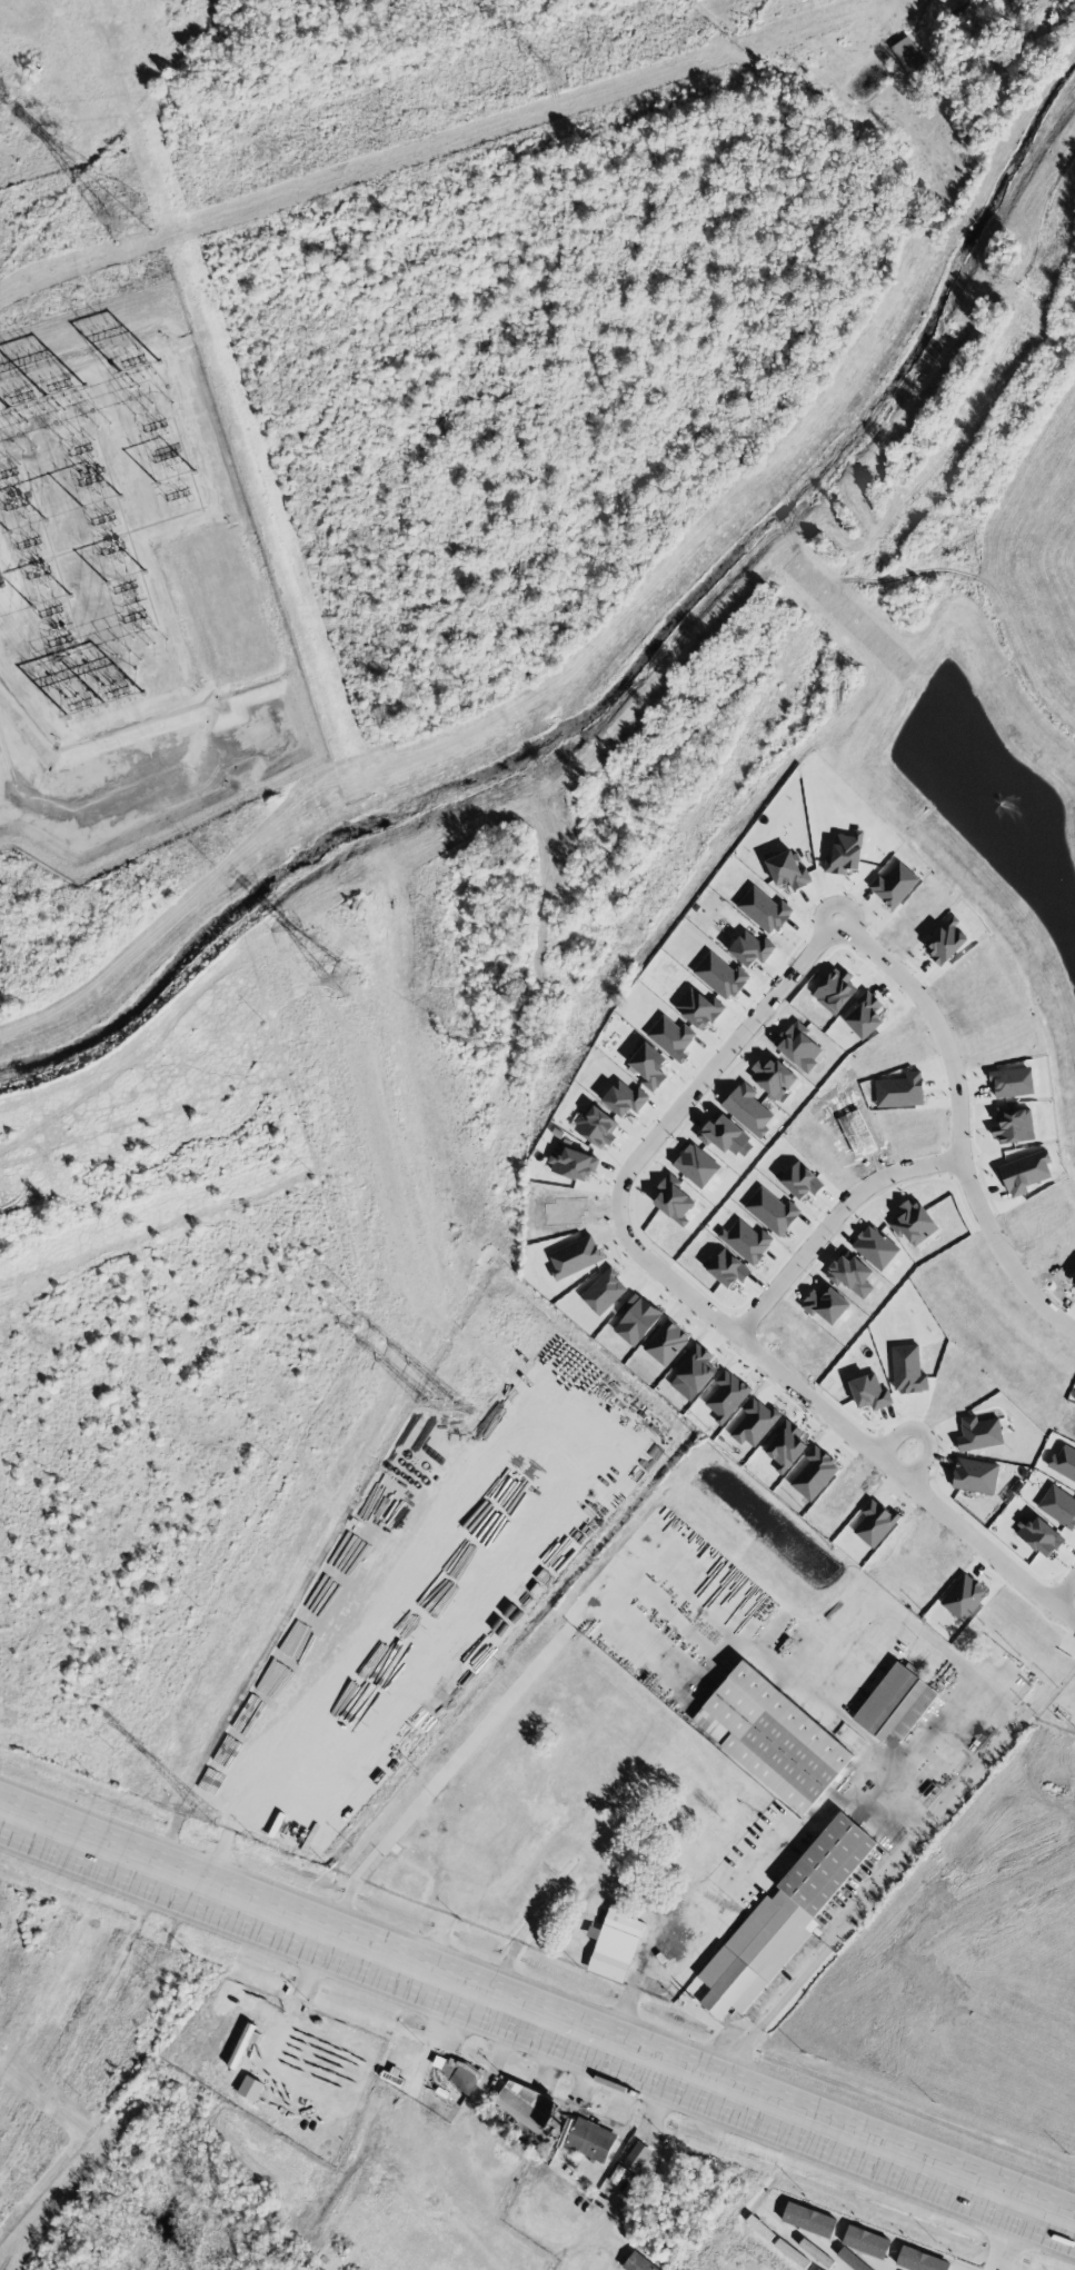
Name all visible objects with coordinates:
building: (907, 54)
power tower: (557, 77)
power tower: (127, 221)
building: (1, 580)
power substation: (130, 595)
building: (844, 853)
building: (787, 870)
building: (893, 885)
road: (838, 902)
building: (764, 909)
building: (944, 940)
building: (750, 948)
building: (720, 975)
power tower: (341, 977)
building: (698, 1008)
building: (864, 1015)
building: (671, 1036)
road: (716, 1063)
building: (648, 1065)
building: (773, 1076)
building: (1012, 1081)
building: (899, 1091)
building: (624, 1098)
building: (747, 1109)
building: (596, 1125)
building: (1009, 1125)
road: (958, 1131)
building: (573, 1164)
building: (1024, 1172)
building: (800, 1179)
building: (674, 1198)
building: (770, 1211)
road: (830, 1222)
building: (913, 1222)
building: (746, 1239)
building: (875, 1246)
building: (574, 1256)
building: (727, 1268)
building: (666, 1342)
building: (906, 1368)
building: (869, 1392)
power tower: (444, 1406)
road: (530, 1413)
road: (834, 1420)
road: (922, 1432)
building: (978, 1433)
building: (1062, 1460)
building: (814, 1473)
building: (974, 1475)
building: (1058, 1506)
road: (637, 1553)
road: (1064, 1589)
building: (894, 1703)
road: (850, 1730)
road: (926, 1735)
building: (772, 1736)
road: (820, 1804)
power tower: (206, 1813)
road: (469, 1894)
road: (858, 1901)
building: (782, 1918)
building: (621, 1923)
building: (608, 1963)
road: (295, 2003)
road: (538, 2020)
building: (449, 2070)
building: (249, 2088)
building: (525, 2103)
road: (655, 2133)
building: (589, 2139)
building: (636, 2157)
road: (998, 2237)
building: (637, 2262)

